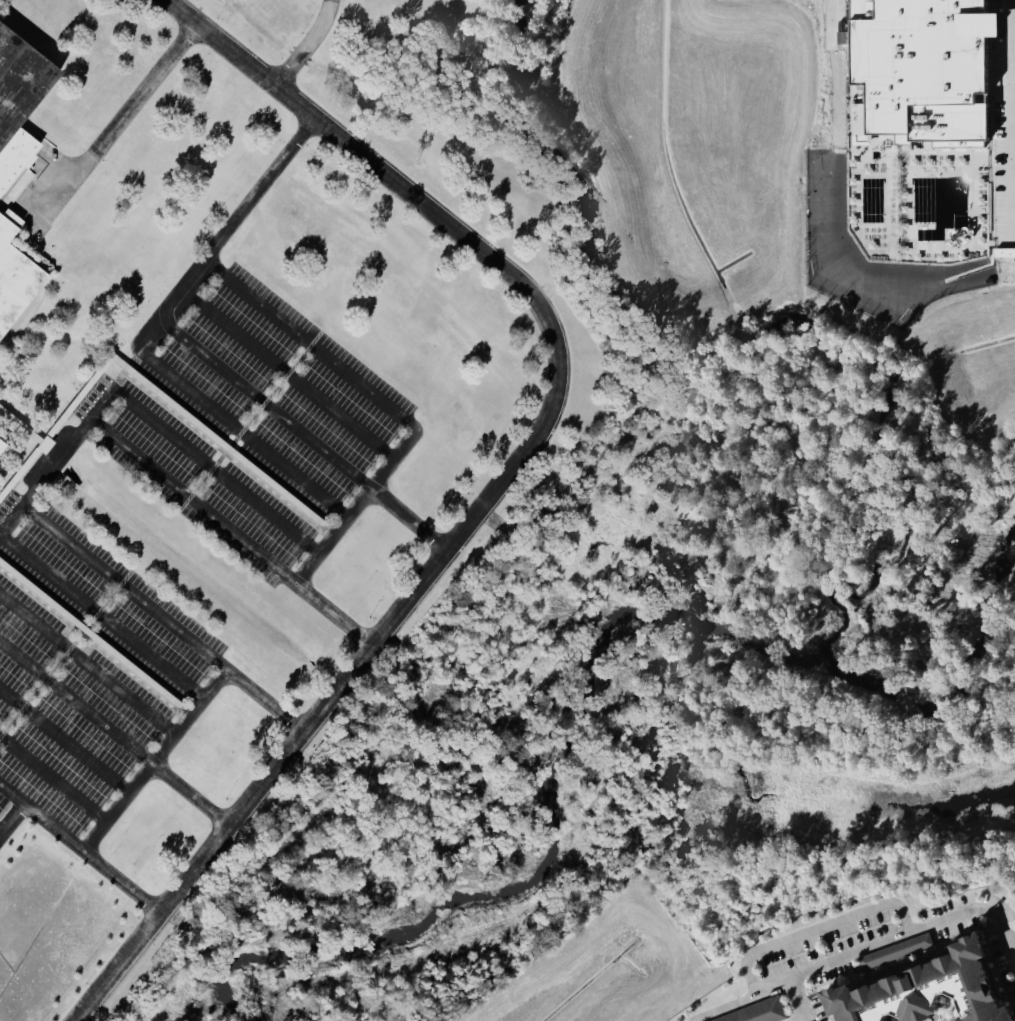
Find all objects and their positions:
road: (1010, 47)
road: (310, 48)
road: (1013, 60)
building: (921, 68)
road: (1013, 95)
building: (19, 104)
road: (126, 111)
road: (1013, 134)
road: (1013, 162)
road: (1011, 170)
road: (404, 190)
road: (1013, 204)
building: (12, 219)
road: (235, 221)
road: (40, 223)
building: (1005, 253)
building: (15, 282)
building: (988, 282)
road: (308, 348)
road: (286, 377)
road: (227, 424)
road: (84, 428)
road: (302, 436)
building: (1, 447)
road: (200, 466)
road: (357, 509)
road: (9, 521)
road: (100, 620)
river: (691, 658)
road: (87, 667)
parking lot: (76, 684)
road: (264, 702)
road: (75, 705)
road: (308, 725)
road: (63, 745)
road: (153, 760)
road: (51, 782)
road: (189, 795)
road: (41, 816)
road: (12, 820)
road: (1, 833)
road: (121, 882)
road: (839, 918)
road: (1011, 947)
building: (898, 952)
road: (834, 960)
building: (939, 989)
road: (796, 1000)
building: (761, 1013)
road: (690, 1020)

